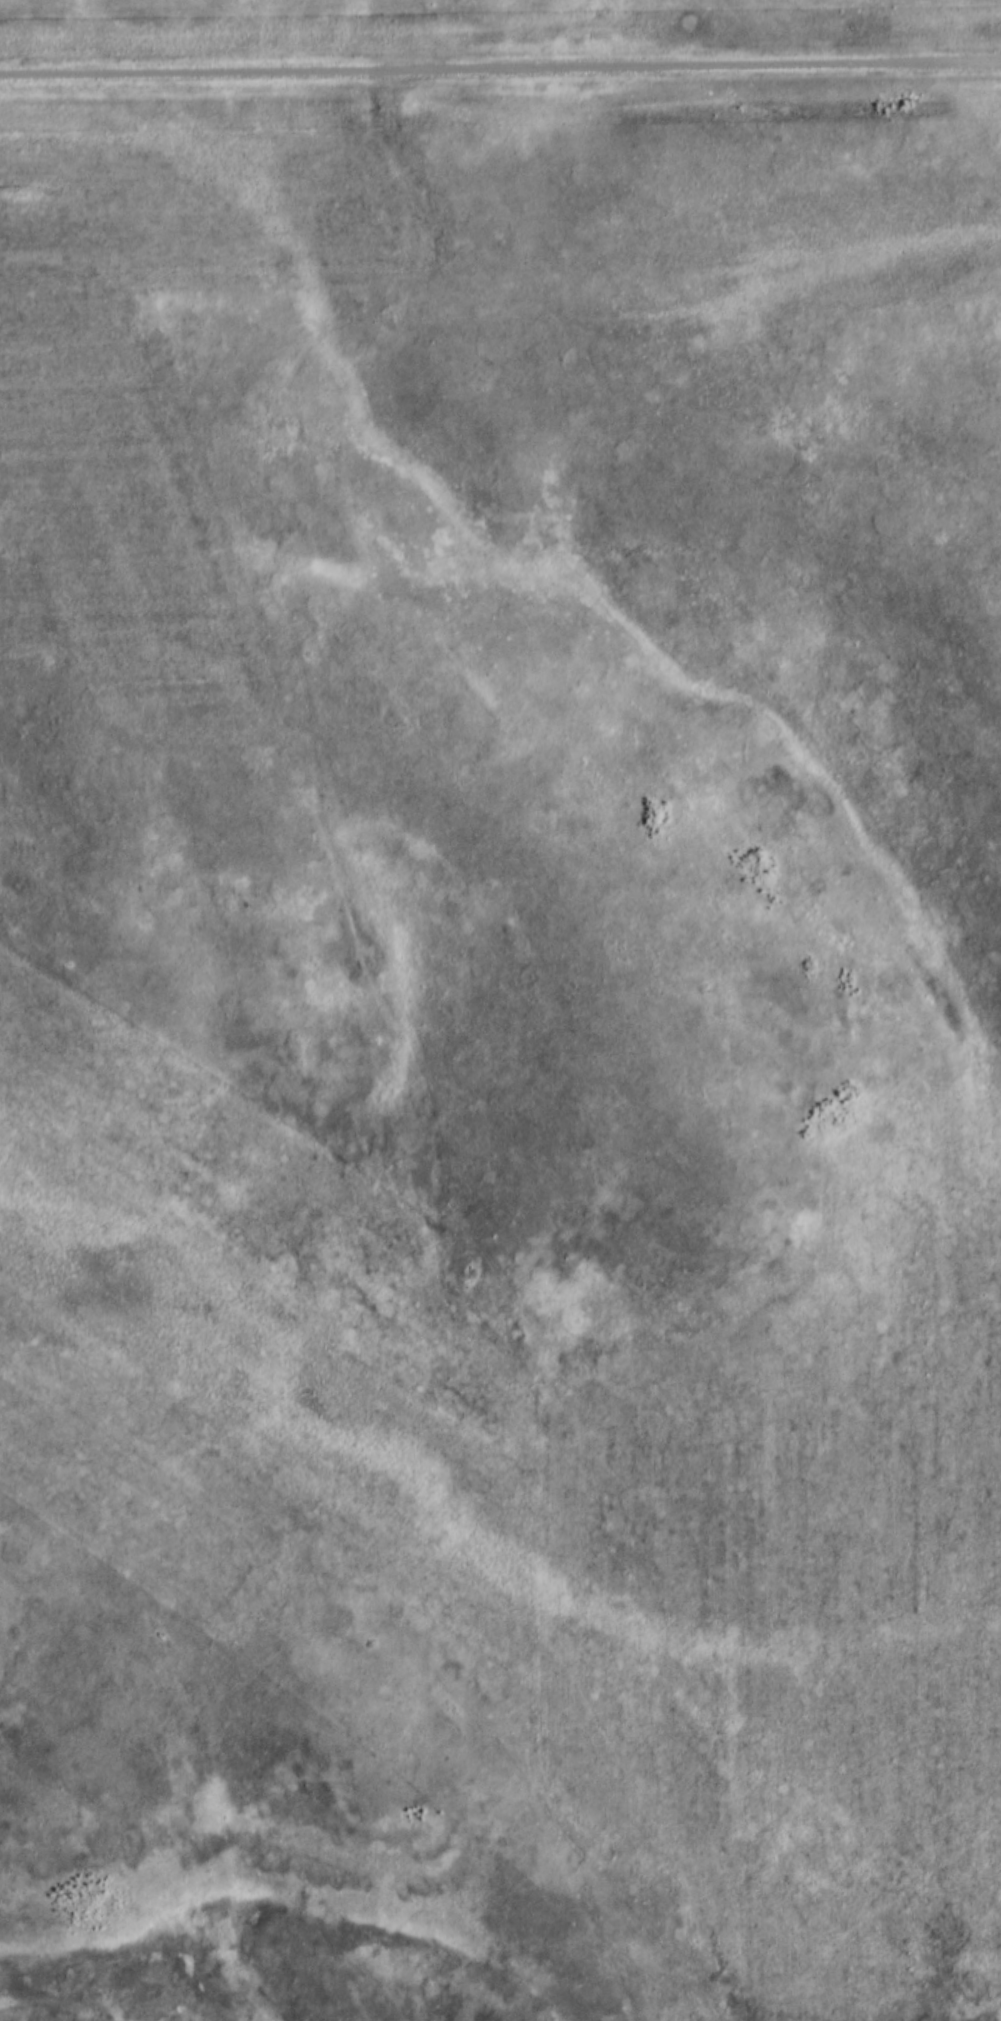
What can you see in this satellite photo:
road: (500, 70)

